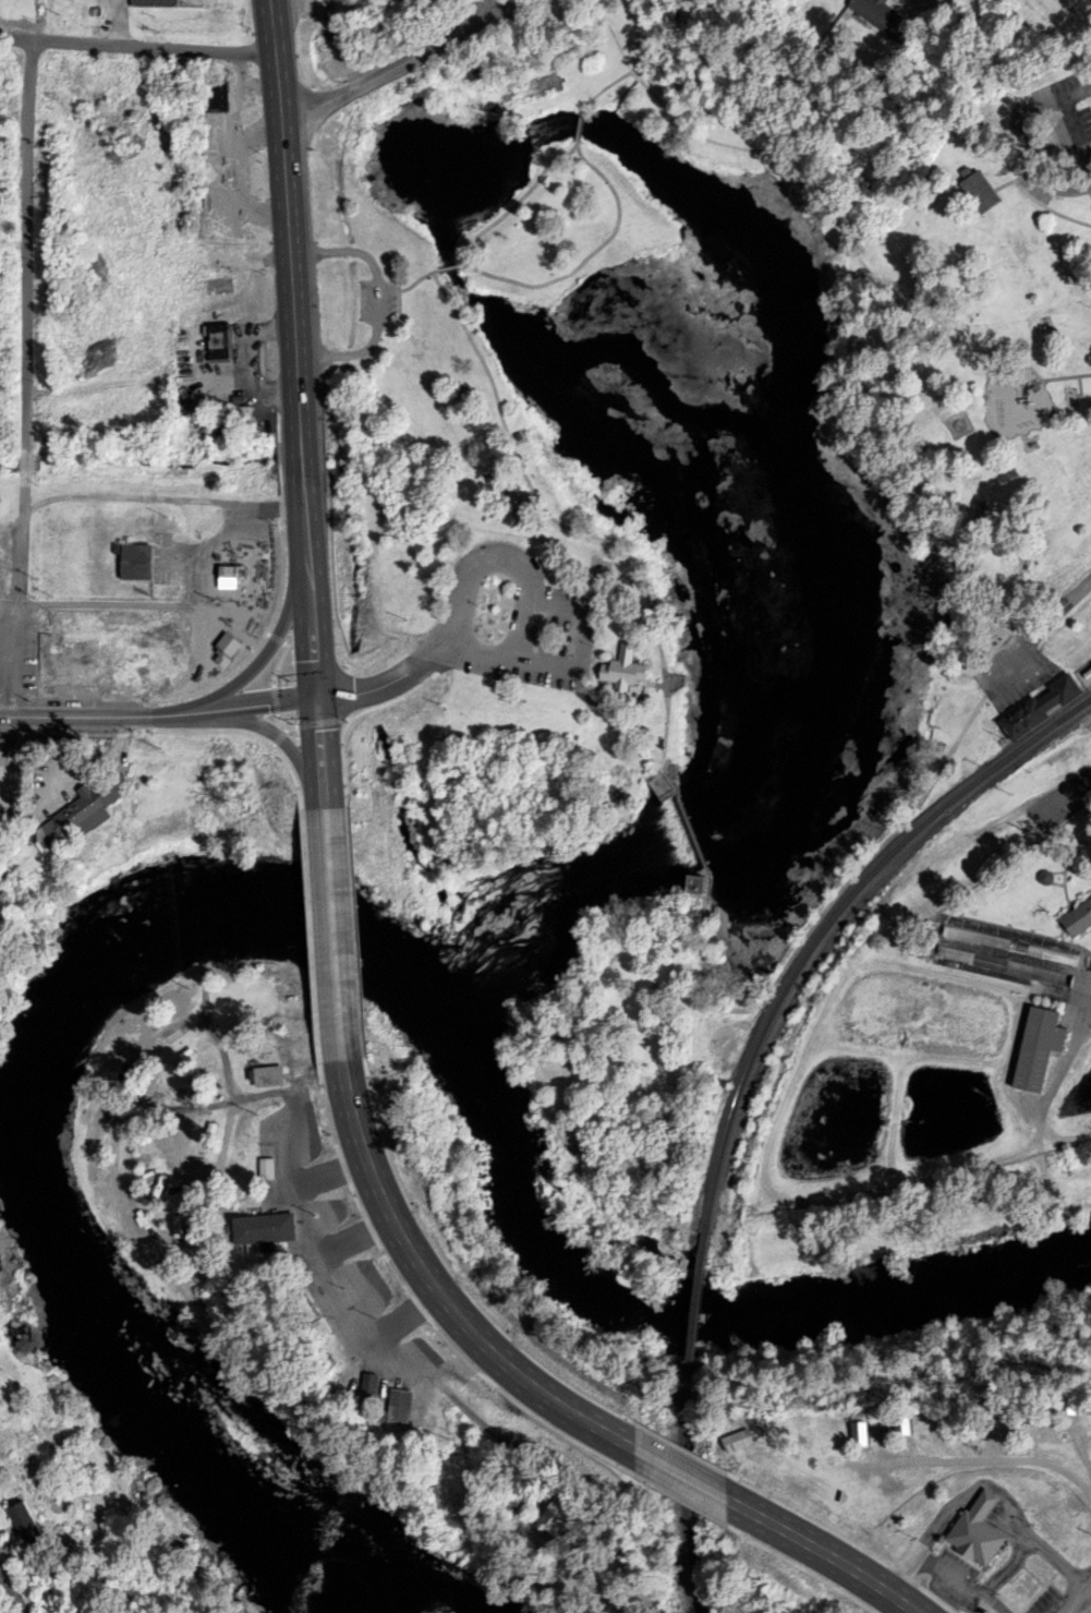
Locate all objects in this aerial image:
road: (496, 13)
building: (885, 15)
road: (1078, 24)
road: (136, 48)
road: (472, 55)
road: (389, 71)
building: (215, 92)
road: (606, 92)
road: (578, 129)
road: (286, 142)
road: (1025, 148)
road: (571, 166)
building: (207, 169)
road: (1013, 177)
building: (980, 184)
building: (973, 195)
river: (712, 204)
road: (1047, 205)
road: (11, 243)
road: (344, 246)
road: (447, 273)
road: (414, 286)
road: (512, 286)
road: (874, 288)
parking lot: (377, 298)
road: (377, 298)
road: (298, 320)
building: (218, 336)
road: (347, 351)
road: (1064, 373)
road: (22, 381)
park: (694, 522)
road: (308, 525)
building: (141, 531)
road: (498, 554)
building: (132, 555)
road: (282, 563)
building: (243, 582)
road: (131, 600)
road: (532, 601)
road: (1060, 611)
road: (276, 635)
parking lot: (551, 637)
road: (582, 639)
building: (228, 643)
road: (268, 649)
road: (421, 657)
road: (279, 662)
building: (128, 667)
building: (623, 667)
building: (1088, 669)
parking lot: (1014, 675)
road: (402, 695)
road: (155, 699)
road: (276, 699)
building: (1039, 702)
road: (611, 710)
road: (159, 715)
road: (320, 720)
road: (284, 722)
road: (281, 737)
building: (4, 746)
road: (320, 750)
road: (1050, 811)
building: (81, 812)
building: (1, 815)
road: (682, 821)
dam: (687, 832)
building: (1078, 915)
railway: (825, 925)
road: (332, 931)
building: (968, 940)
building: (1013, 970)
river: (473, 973)
building: (1032, 1051)
building: (269, 1071)
building: (265, 1223)
road: (438, 1289)
building: (311, 1311)
river: (669, 1322)
railway: (683, 1349)
building: (1069, 1394)
building: (995, 1396)
building: (402, 1401)
building: (1032, 1405)
building: (956, 1406)
building: (902, 1417)
building: (859, 1428)
building: (752, 1431)
road: (681, 1474)
railway: (688, 1533)
building: (973, 1539)
road: (825, 1554)
road: (13, 1594)

